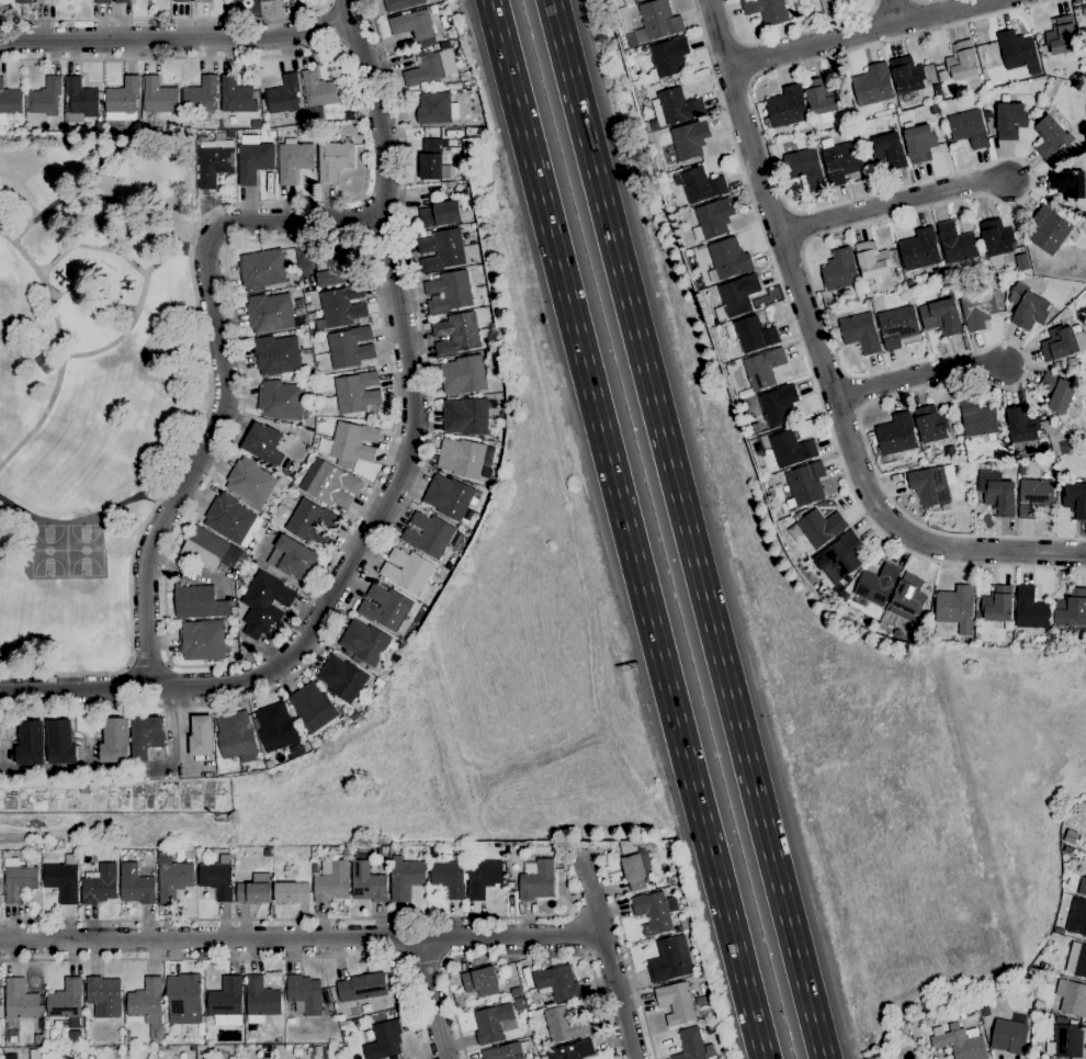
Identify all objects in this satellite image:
building: (181, 0)
building: (264, 0)
building: (631, 0)
building: (634, 0)
building: (23, 1)
building: (44, 1)
building: (102, 1)
building: (122, 1)
building: (201, 1)
road: (341, 1)
building: (400, 3)
building: (833, 4)
building: (799, 7)
building: (766, 10)
road: (349, 11)
road: (896, 13)
road: (165, 18)
building: (655, 22)
building: (412, 24)
road: (331, 25)
road: (789, 33)
building: (1083, 33)
road: (862, 34)
building: (1062, 35)
road: (177, 38)
road: (358, 43)
building: (445, 46)
building: (1016, 48)
building: (667, 58)
building: (962, 60)
building: (426, 69)
building: (1047, 69)
building: (906, 75)
building: (872, 85)
building: (319, 89)
building: (936, 89)
building: (237, 94)
building: (284, 94)
building: (159, 95)
building: (201, 95)
building: (45, 97)
building: (819, 97)
building: (81, 99)
building: (123, 99)
building: (9, 102)
building: (889, 103)
building: (433, 106)
building: (675, 106)
building: (788, 108)
building: (988, 114)
building: (1010, 120)
building: (186, 123)
building: (99, 125)
building: (968, 128)
building: (230, 134)
building: (1050, 135)
building: (690, 138)
building: (770, 139)
building: (919, 142)
building: (889, 150)
building: (253, 158)
building: (293, 158)
building: (430, 159)
building: (333, 160)
building: (214, 161)
building: (841, 161)
building: (804, 167)
building: (699, 183)
building: (1067, 184)
building: (824, 198)
road: (382, 199)
road: (893, 202)
road: (226, 205)
building: (440, 214)
building: (712, 218)
road: (362, 219)
road: (863, 222)
building: (1049, 229)
building: (996, 237)
road: (348, 239)
building: (955, 243)
building: (701, 247)
building: (441, 249)
building: (919, 249)
road: (165, 257)
building: (727, 259)
building: (871, 259)
building: (1021, 261)
building: (337, 267)
building: (261, 269)
building: (839, 270)
building: (938, 273)
road: (144, 278)
building: (908, 284)
building: (449, 291)
building: (738, 294)
building: (910, 300)
building: (866, 301)
building: (342, 305)
building: (1027, 307)
building: (977, 308)
building: (270, 312)
building: (720, 313)
building: (310, 316)
building: (941, 316)
building: (897, 326)
building: (860, 331)
building: (456, 333)
building: (754, 334)
building: (1062, 342)
building: (350, 347)
road: (58, 350)
building: (792, 350)
building: (276, 354)
building: (726, 356)
road: (823, 360)
building: (1072, 361)
building: (1059, 365)
building: (762, 368)
road: (810, 371)
building: (464, 374)
road: (917, 374)
building: (1077, 375)
park: (92, 380)
road: (224, 381)
building: (357, 392)
building: (1056, 392)
building: (281, 399)
building: (778, 405)
building: (502, 414)
building: (470, 416)
building: (976, 417)
building: (930, 423)
building: (1022, 429)
building: (896, 433)
building: (1057, 438)
building: (353, 441)
building: (268, 443)
building: (790, 448)
building: (463, 457)
building: (250, 481)
building: (773, 481)
building: (329, 483)
building: (805, 483)
building: (932, 485)
building: (997, 492)
road: (389, 495)
building: (449, 495)
building: (1034, 496)
building: (1075, 498)
road: (408, 499)
building: (796, 516)
road: (87, 518)
building: (229, 518)
building: (313, 521)
building: (817, 528)
road: (625, 529)
road: (686, 529)
building: (429, 534)
building: (460, 547)
building: (211, 550)
park: (64, 551)
building: (841, 556)
building: (292, 557)
building: (407, 570)
building: (847, 579)
building: (874, 585)
building: (842, 596)
building: (907, 596)
building: (199, 602)
building: (264, 604)
building: (997, 604)
building: (386, 607)
building: (955, 607)
building: (1072, 608)
building: (1030, 609)
building: (976, 612)
building: (1007, 635)
building: (202, 641)
building: (364, 642)
building: (396, 657)
road: (148, 660)
building: (392, 664)
building: (342, 678)
building: (378, 681)
road: (114, 689)
building: (314, 709)
building: (354, 713)
building: (275, 726)
building: (235, 734)
building: (201, 735)
building: (148, 739)
building: (115, 741)
building: (60, 742)
building: (31, 743)
road: (115, 833)
building: (1071, 836)
building: (335, 849)
building: (346, 850)
building: (1066, 850)
road: (599, 852)
building: (190, 853)
building: (267, 853)
building: (421, 856)
building: (200, 857)
building: (635, 865)
building: (405, 877)
building: (483, 877)
building: (217, 878)
building: (449, 878)
building: (63, 879)
building: (173, 879)
building: (671, 879)
building: (331, 880)
building: (536, 880)
building: (19, 882)
building: (366, 882)
building: (100, 883)
building: (136, 885)
building: (1082, 886)
building: (256, 889)
building: (292, 892)
building: (654, 911)
building: (1077, 917)
road: (317, 919)
building: (685, 924)
building: (1059, 930)
road: (301, 937)
road: (607, 954)
road: (627, 955)
road: (518, 956)
road: (250, 957)
building: (1076, 959)
building: (668, 961)
building: (1043, 966)
building: (480, 980)
building: (557, 983)
building: (362, 987)
building: (531, 991)
building: (304, 994)
building: (104, 996)
road: (431, 998)
building: (1072, 998)
building: (1000, 999)
building: (20, 1000)
building: (185, 1000)
building: (260, 1000)
building: (67, 1001)
building: (147, 1001)
building: (226, 1002)
building: (676, 1002)
building: (518, 1003)
building: (1036, 1004)
building: (963, 1014)
building: (987, 1017)
building: (290, 1021)
building: (494, 1023)
building: (564, 1024)
building: (980, 1025)
building: (1010, 1034)
building: (1065, 1039)
building: (384, 1040)
building: (690, 1045)
building: (960, 1045)
building: (308, 1049)
building: (297, 1050)
building: (317, 1050)
building: (510, 1050)
building: (572, 1050)
building: (11, 1057)
building: (935, 1058)

